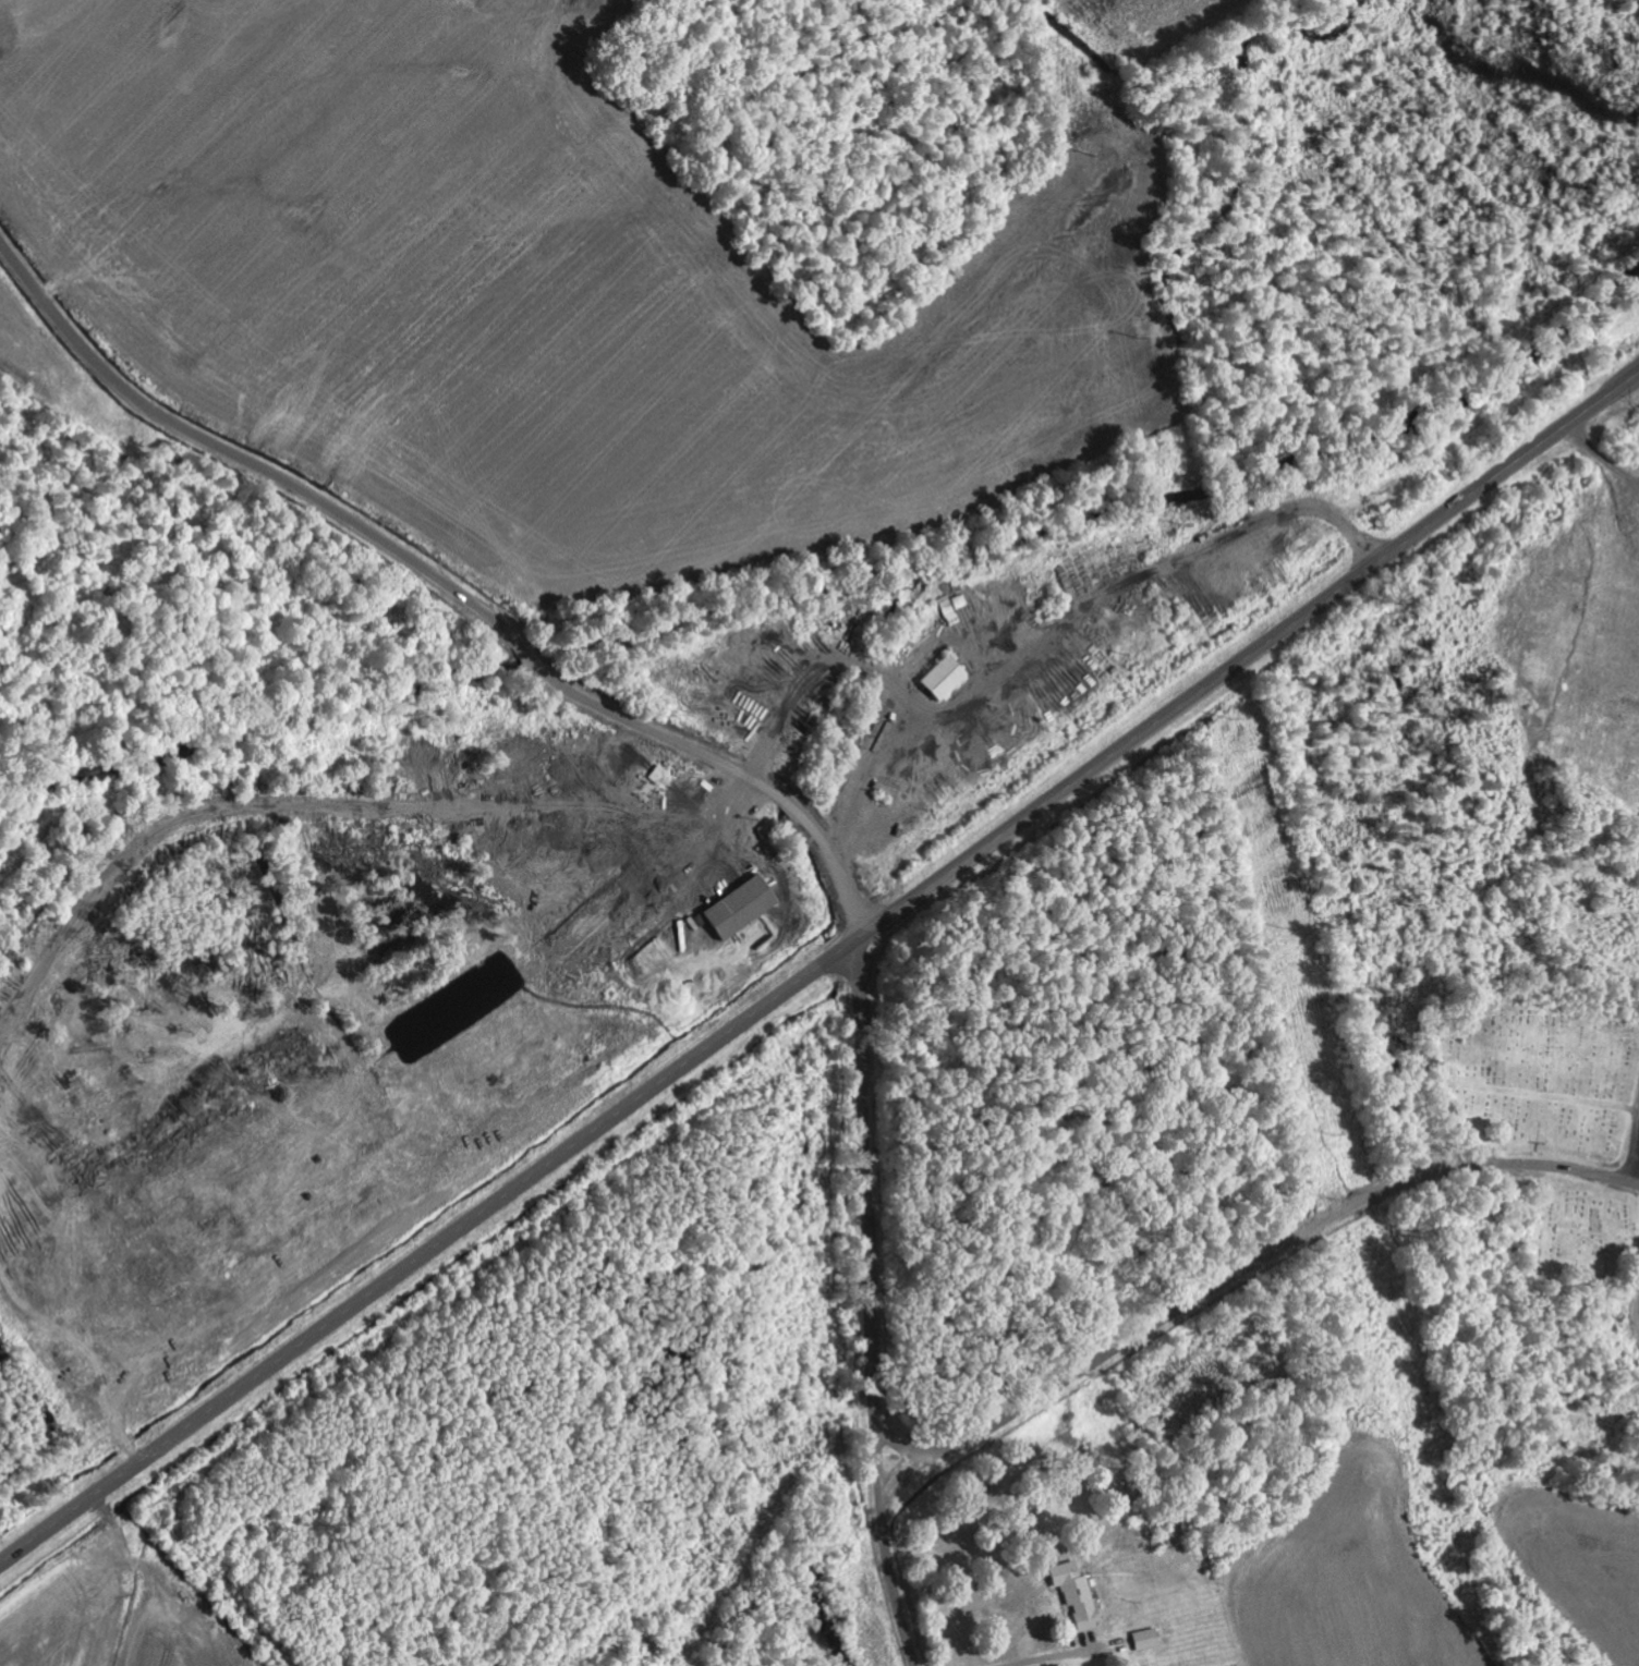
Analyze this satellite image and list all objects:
road: (243, 461)
road: (526, 655)
building: (948, 678)
road: (730, 770)
building: (661, 776)
building: (769, 834)
building: (745, 908)
road: (818, 970)
park: (1543, 1080)
road: (1632, 1146)
park: (1580, 1238)
road: (1234, 1277)
road: (871, 1305)
road: (905, 1476)
building: (1150, 1641)

